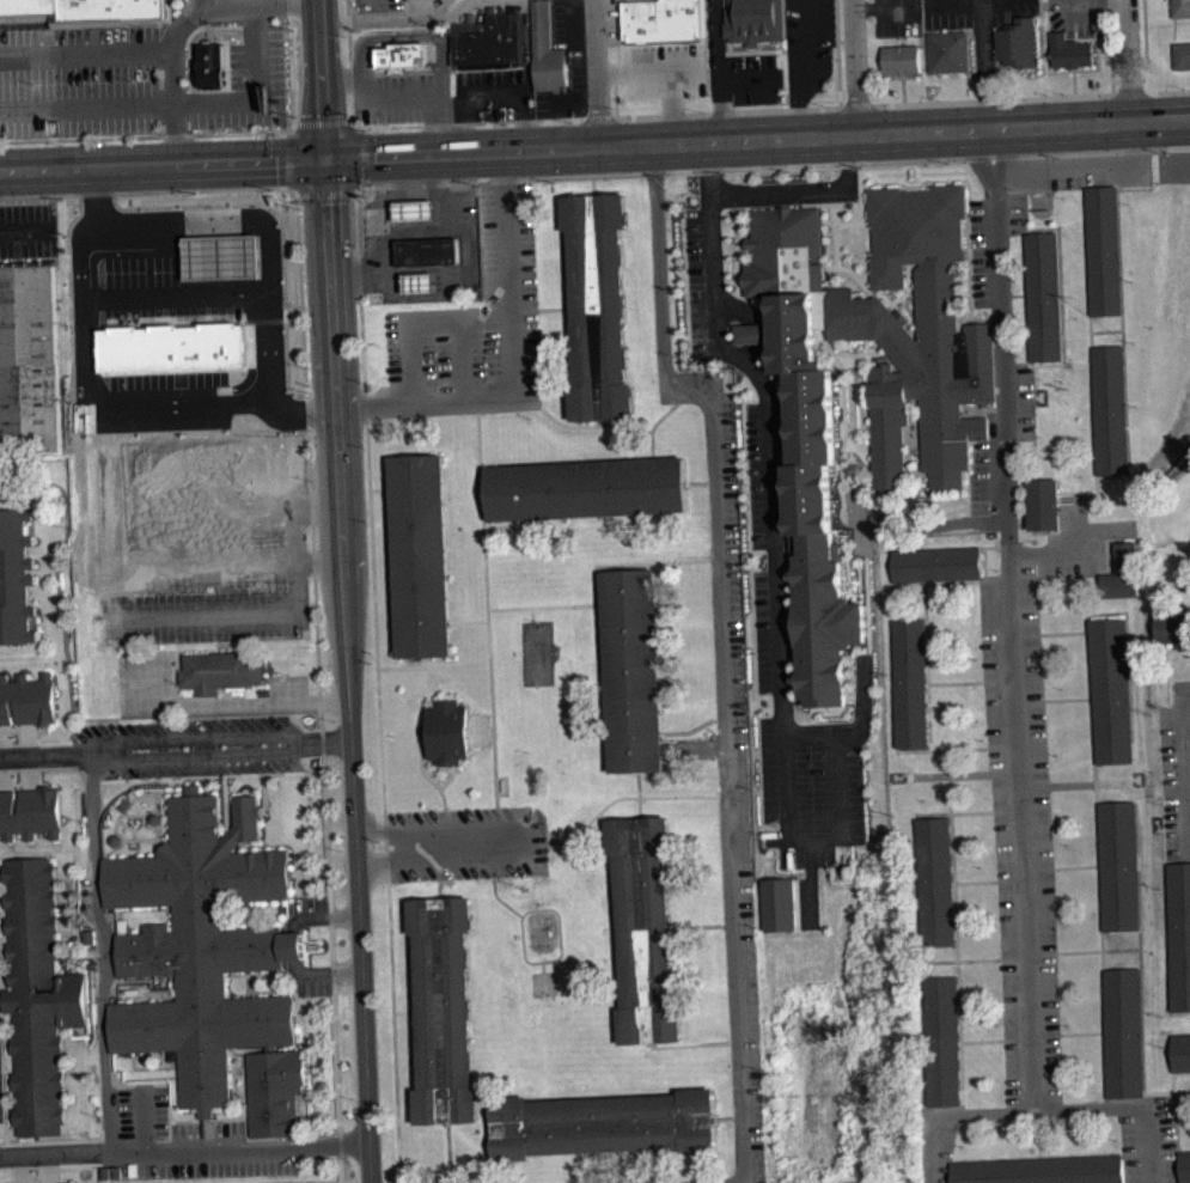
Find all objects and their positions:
road: (936, 0)
building: (423, 1)
road: (1094, 1)
road: (213, 2)
parking lot: (378, 5)
road: (378, 6)
road: (885, 7)
building: (1180, 8)
building: (80, 11)
parking lot: (974, 12)
parking lot: (1076, 16)
parking lot: (897, 18)
building: (663, 19)
building: (753, 19)
road: (398, 20)
road: (178, 23)
road: (196, 38)
road: (718, 41)
building: (489, 42)
building: (1018, 42)
road: (1145, 44)
road: (1110, 45)
parking lot: (808, 47)
building: (547, 50)
building: (948, 50)
building: (1069, 50)
building: (404, 53)
road: (837, 53)
building: (1182, 54)
road: (86, 55)
building: (903, 59)
road: (1128, 60)
road: (984, 62)
building: (212, 66)
road: (349, 66)
road: (854, 66)
parking lot: (737, 67)
road: (805, 67)
parking lot: (576, 68)
road: (652, 68)
parking lot: (663, 69)
road: (598, 73)
road: (1129, 78)
parking lot: (79, 80)
road: (321, 80)
road: (724, 81)
parking lot: (246, 83)
road: (1168, 90)
parking lot: (492, 94)
parking lot: (396, 97)
road: (443, 97)
road: (990, 97)
road: (181, 104)
road: (854, 104)
road: (671, 105)
road: (701, 112)
road: (599, 117)
road: (294, 121)
road: (321, 121)
road: (348, 121)
road: (470, 123)
road: (445, 128)
road: (209, 132)
road: (757, 136)
road: (287, 158)
road: (361, 158)
traffic signals: (325, 161)
road: (163, 166)
road: (770, 167)
road: (1082, 171)
road: (737, 175)
parking lot: (1072, 177)
road: (804, 188)
road: (148, 189)
road: (738, 193)
road: (325, 194)
gas station: (416, 208)
building: (415, 218)
road: (852, 221)
road: (836, 225)
road: (133, 230)
road: (17, 237)
road: (714, 244)
road: (1057, 248)
building: (1104, 249)
building: (428, 250)
parking lot: (980, 251)
road: (970, 267)
road: (738, 269)
gas station: (421, 281)
parking lot: (698, 281)
road: (1088, 285)
building: (420, 291)
road: (359, 293)
road: (884, 295)
building: (1043, 295)
road: (225, 297)
road: (762, 306)
road: (1001, 306)
road: (554, 307)
building: (598, 307)
road: (1026, 315)
road: (970, 317)
parking lot: (472, 329)
road: (763, 333)
road: (752, 334)
road: (1123, 337)
road: (719, 346)
road: (763, 348)
road: (463, 353)
road: (410, 356)
building: (29, 359)
road: (1063, 362)
road: (512, 364)
road: (1036, 373)
road: (97, 392)
parking lot: (1025, 404)
road: (844, 405)
road: (365, 409)
building: (1112, 409)
road: (1094, 423)
road: (568, 425)
road: (624, 425)
road: (653, 426)
road: (786, 432)
road: (415, 435)
building: (945, 447)
road: (910, 451)
road: (838, 459)
road: (480, 469)
parking lot: (755, 474)
road: (921, 475)
parking lot: (981, 476)
road: (696, 482)
road: (379, 489)
building: (586, 489)
road: (1097, 493)
road: (917, 498)
building: (1045, 504)
road: (917, 523)
road: (773, 525)
road: (863, 538)
road: (997, 542)
road: (483, 545)
road: (932, 548)
road: (1045, 551)
building: (420, 555)
road: (849, 560)
road: (985, 560)
road: (664, 561)
building: (936, 563)
road: (596, 571)
building: (1121, 572)
building: (16, 577)
road: (983, 577)
road: (952, 581)
road: (908, 583)
road: (60, 587)
road: (868, 608)
road: (532, 612)
road: (1013, 615)
road: (374, 617)
road: (469, 622)
building: (1172, 626)
parking lot: (762, 630)
road: (1063, 633)
road: (1027, 634)
road: (489, 651)
park: (537, 651)
road: (719, 655)
road: (404, 666)
building: (220, 670)
building: (633, 670)
road: (347, 671)
building: (911, 679)
road: (957, 682)
road: (1184, 685)
road: (319, 688)
road: (1014, 689)
building: (1109, 690)
building: (29, 699)
road: (1067, 699)
road: (269, 703)
road: (813, 708)
road: (866, 708)
road: (692, 730)
building: (445, 731)
road: (200, 737)
road: (1129, 740)
road: (328, 742)
road: (1003, 745)
parking lot: (200, 748)
road: (926, 750)
parking lot: (737, 751)
road: (48, 752)
road: (201, 756)
road: (38, 767)
road: (421, 772)
road: (89, 773)
road: (293, 773)
road: (840, 773)
road: (1183, 773)
road: (965, 774)
road: (203, 775)
road: (448, 778)
road: (948, 778)
parking lot: (1174, 779)
road: (1092, 781)
road: (1104, 782)
road: (1174, 786)
road: (789, 788)
parking lot: (812, 789)
road: (683, 797)
road: (1018, 797)
road: (126, 807)
road: (640, 807)
road: (602, 810)
road: (951, 811)
road: (157, 812)
building: (31, 813)
road: (133, 815)
road: (129, 827)
road: (433, 828)
road: (132, 840)
parking lot: (1021, 840)
road: (494, 841)
road: (514, 841)
road: (440, 843)
parking lot: (459, 843)
road: (530, 844)
road: (385, 848)
road: (16, 853)
road: (100, 854)
road: (434, 860)
road: (1177, 860)
building: (1115, 864)
road: (1074, 866)
road: (1024, 874)
road: (300, 879)
building: (934, 880)
road: (972, 882)
road: (438, 890)
building: (781, 903)
parking lot: (310, 909)
road: (321, 916)
road: (702, 926)
building: (646, 929)
building: (1178, 932)
road: (956, 941)
road: (294, 945)
road: (1078, 951)
road: (106, 952)
road: (78, 955)
road: (1027, 956)
road: (960, 959)
building: (210, 961)
road: (533, 962)
road: (106, 966)
road: (286, 971)
road: (323, 971)
road: (270, 972)
road: (237, 974)
road: (142, 978)
parking lot: (312, 980)
road: (303, 982)
road: (274, 990)
road: (1101, 994)
building: (38, 995)
road: (307, 1006)
building: (443, 1010)
road: (404, 1011)
road: (1182, 1012)
road: (106, 1018)
road: (304, 1032)
road: (393, 1032)
road: (1082, 1032)
building: (1124, 1032)
road: (1031, 1036)
building: (942, 1039)
road: (981, 1041)
road: (691, 1044)
building: (1182, 1050)
road: (1172, 1054)
road: (135, 1066)
road: (1173, 1087)
road: (240, 1093)
parking lot: (1, 1097)
road: (1148, 1099)
road: (1106, 1103)
road: (245, 1105)
road: (1125, 1108)
road: (964, 1109)
road: (1038, 1115)
road: (952, 1116)
road: (187, 1120)
road: (5, 1122)
building: (605, 1124)
road: (1039, 1136)
road: (108, 1139)
parking lot: (182, 1141)
road: (277, 1141)
road: (2, 1142)
parking lot: (939, 1144)
parking lot: (1153, 1144)
road: (183, 1150)
road: (1184, 1150)
road: (1151, 1151)
road: (1038, 1157)
building: (1185, 1166)
building: (1042, 1170)

